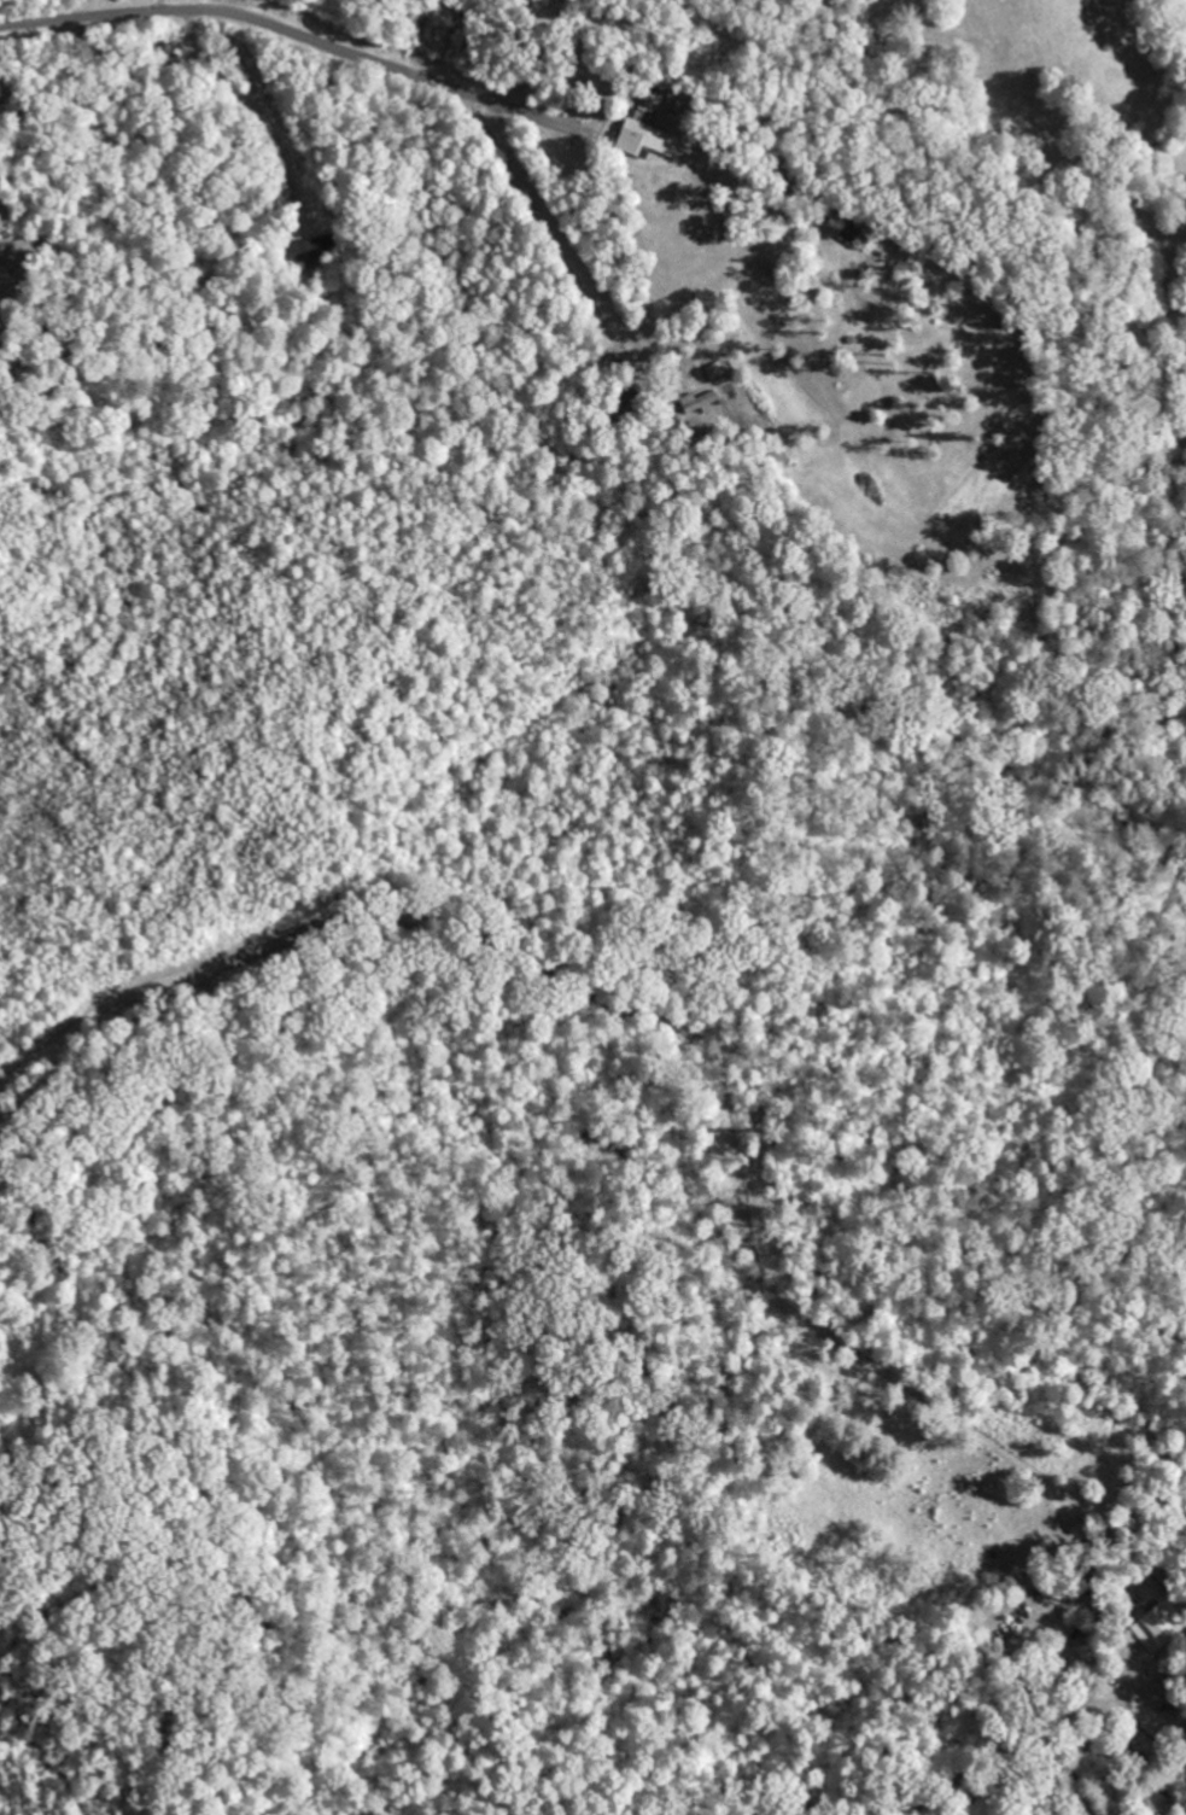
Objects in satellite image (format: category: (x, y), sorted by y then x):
road: (294, 34)
building: (641, 135)
road: (571, 249)
building: (308, 252)
road: (100, 1417)
building: (1151, 1628)

